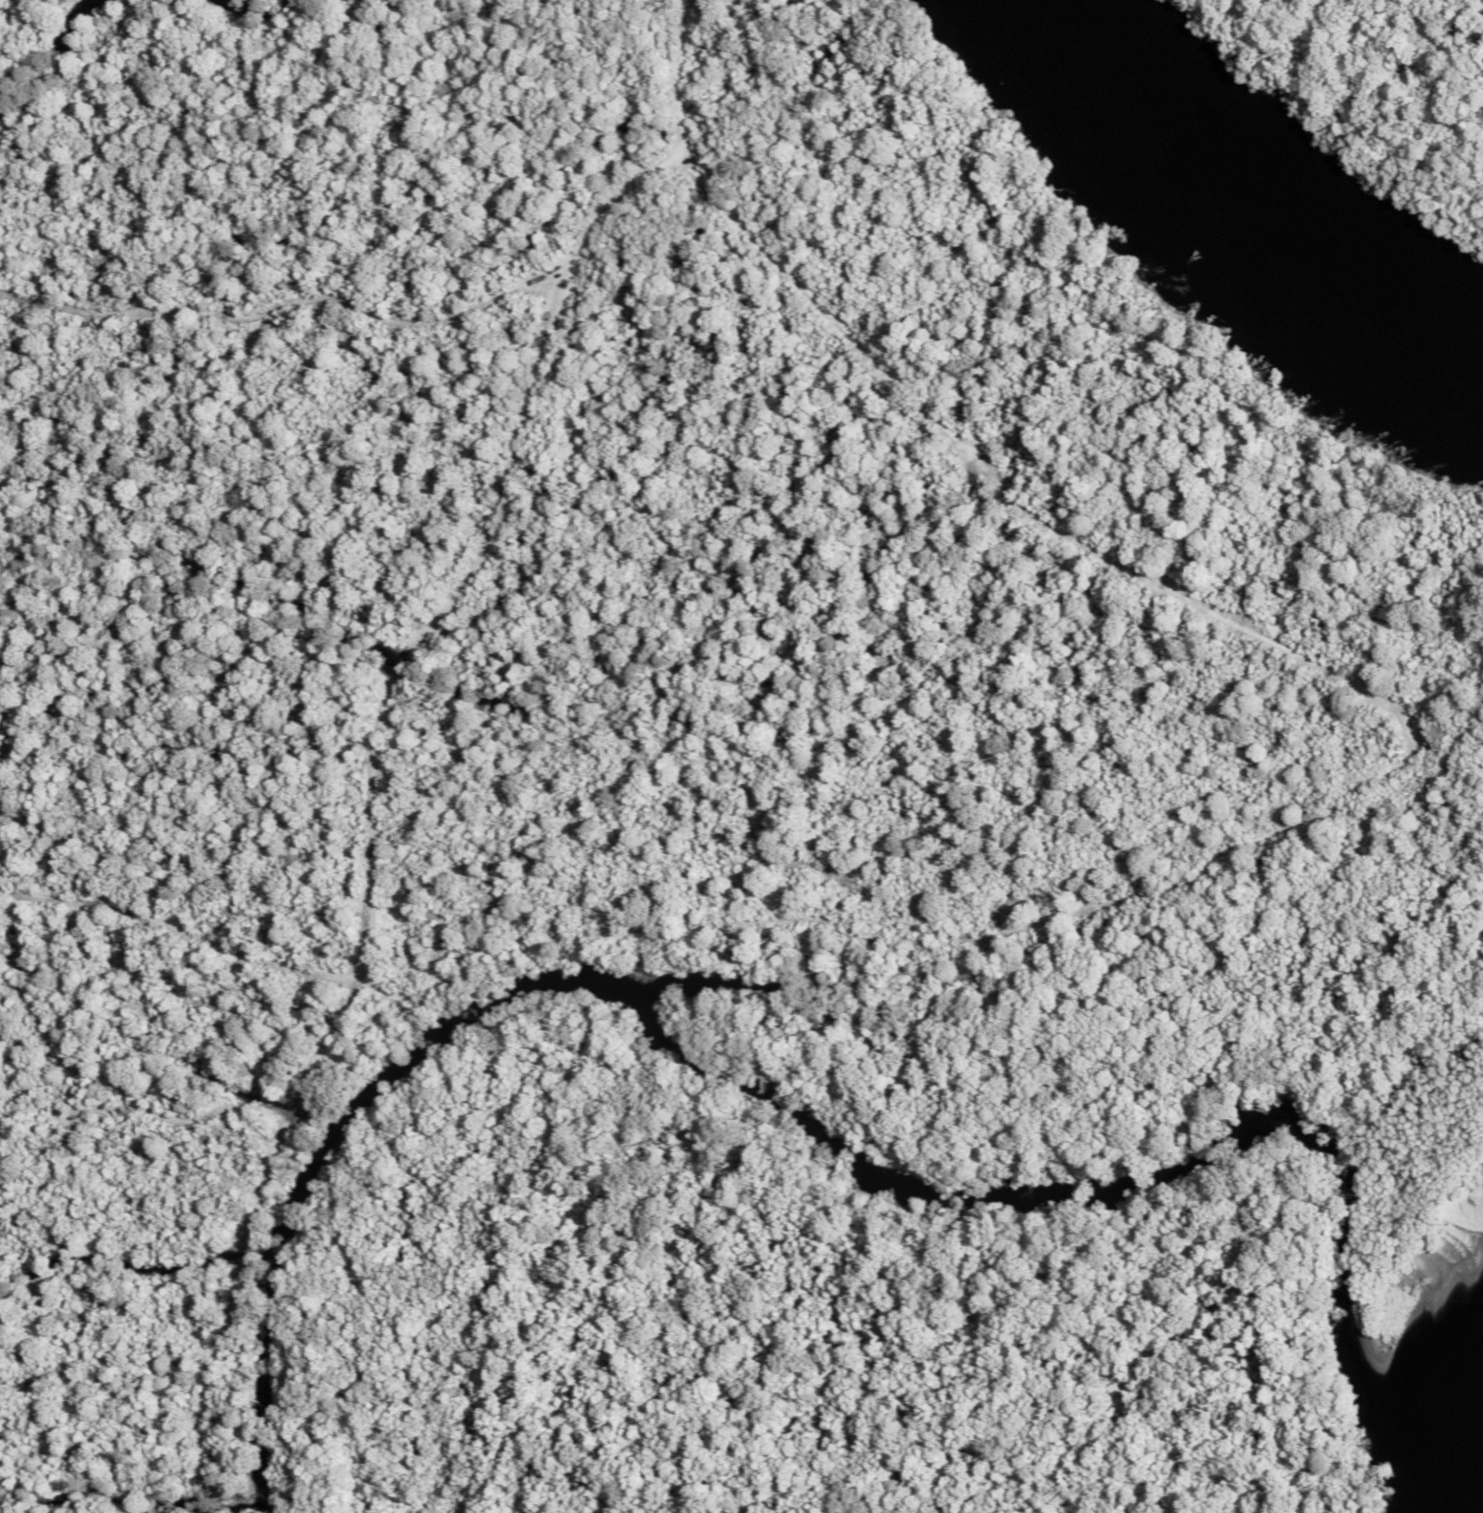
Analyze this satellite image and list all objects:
river: (1245, 174)
river: (1462, 1340)

